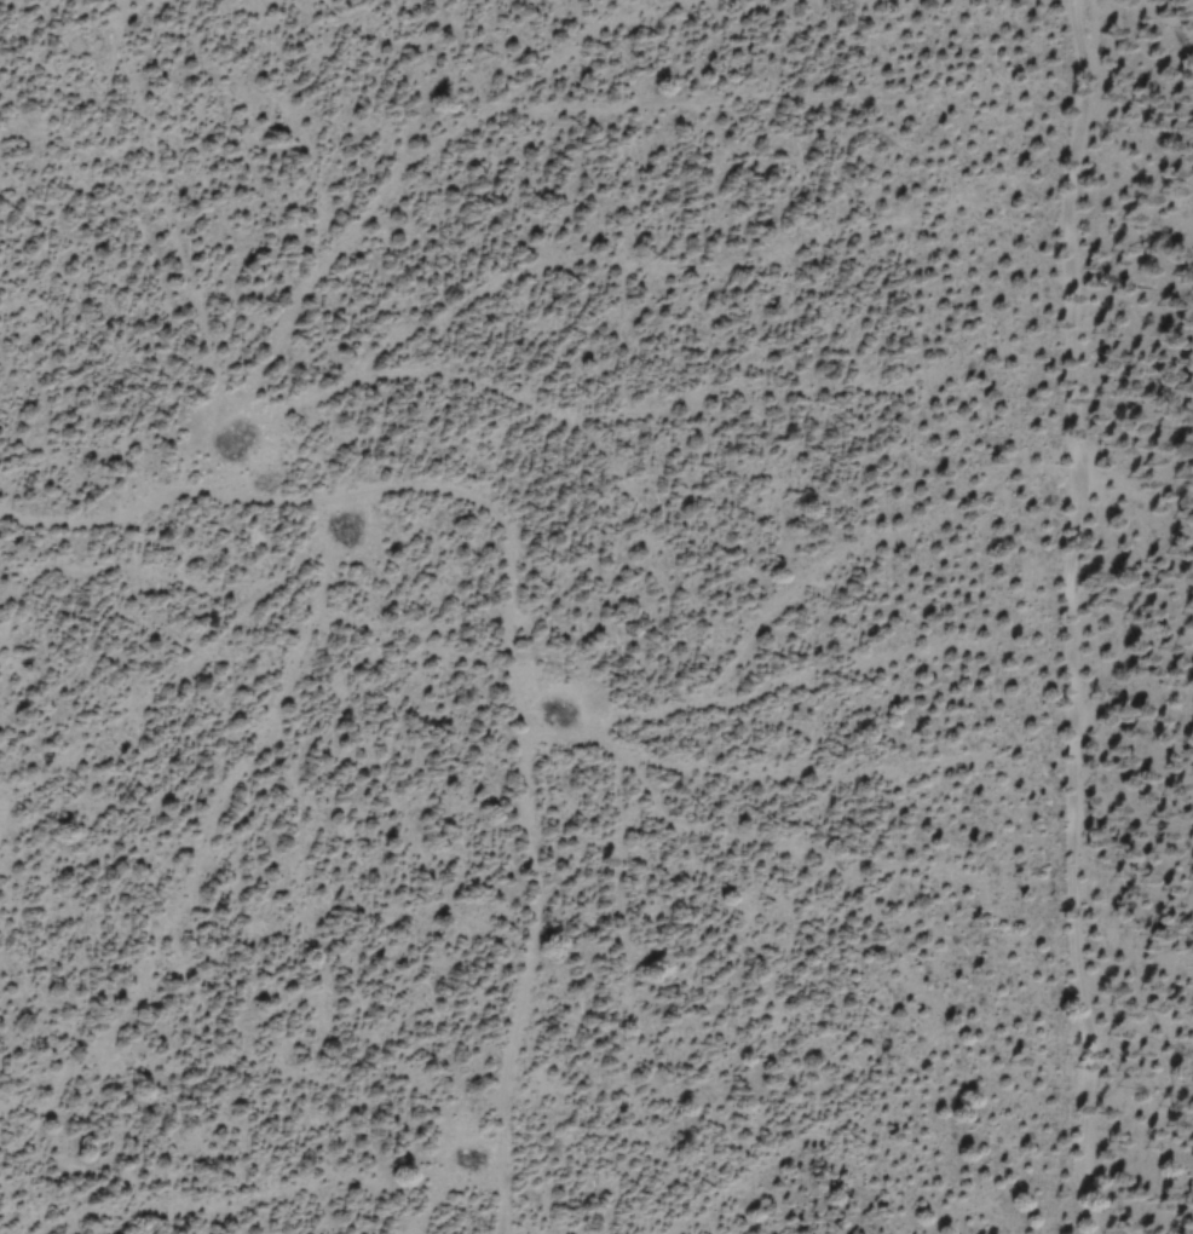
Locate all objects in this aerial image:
road: (1071, 617)
road: (517, 622)

